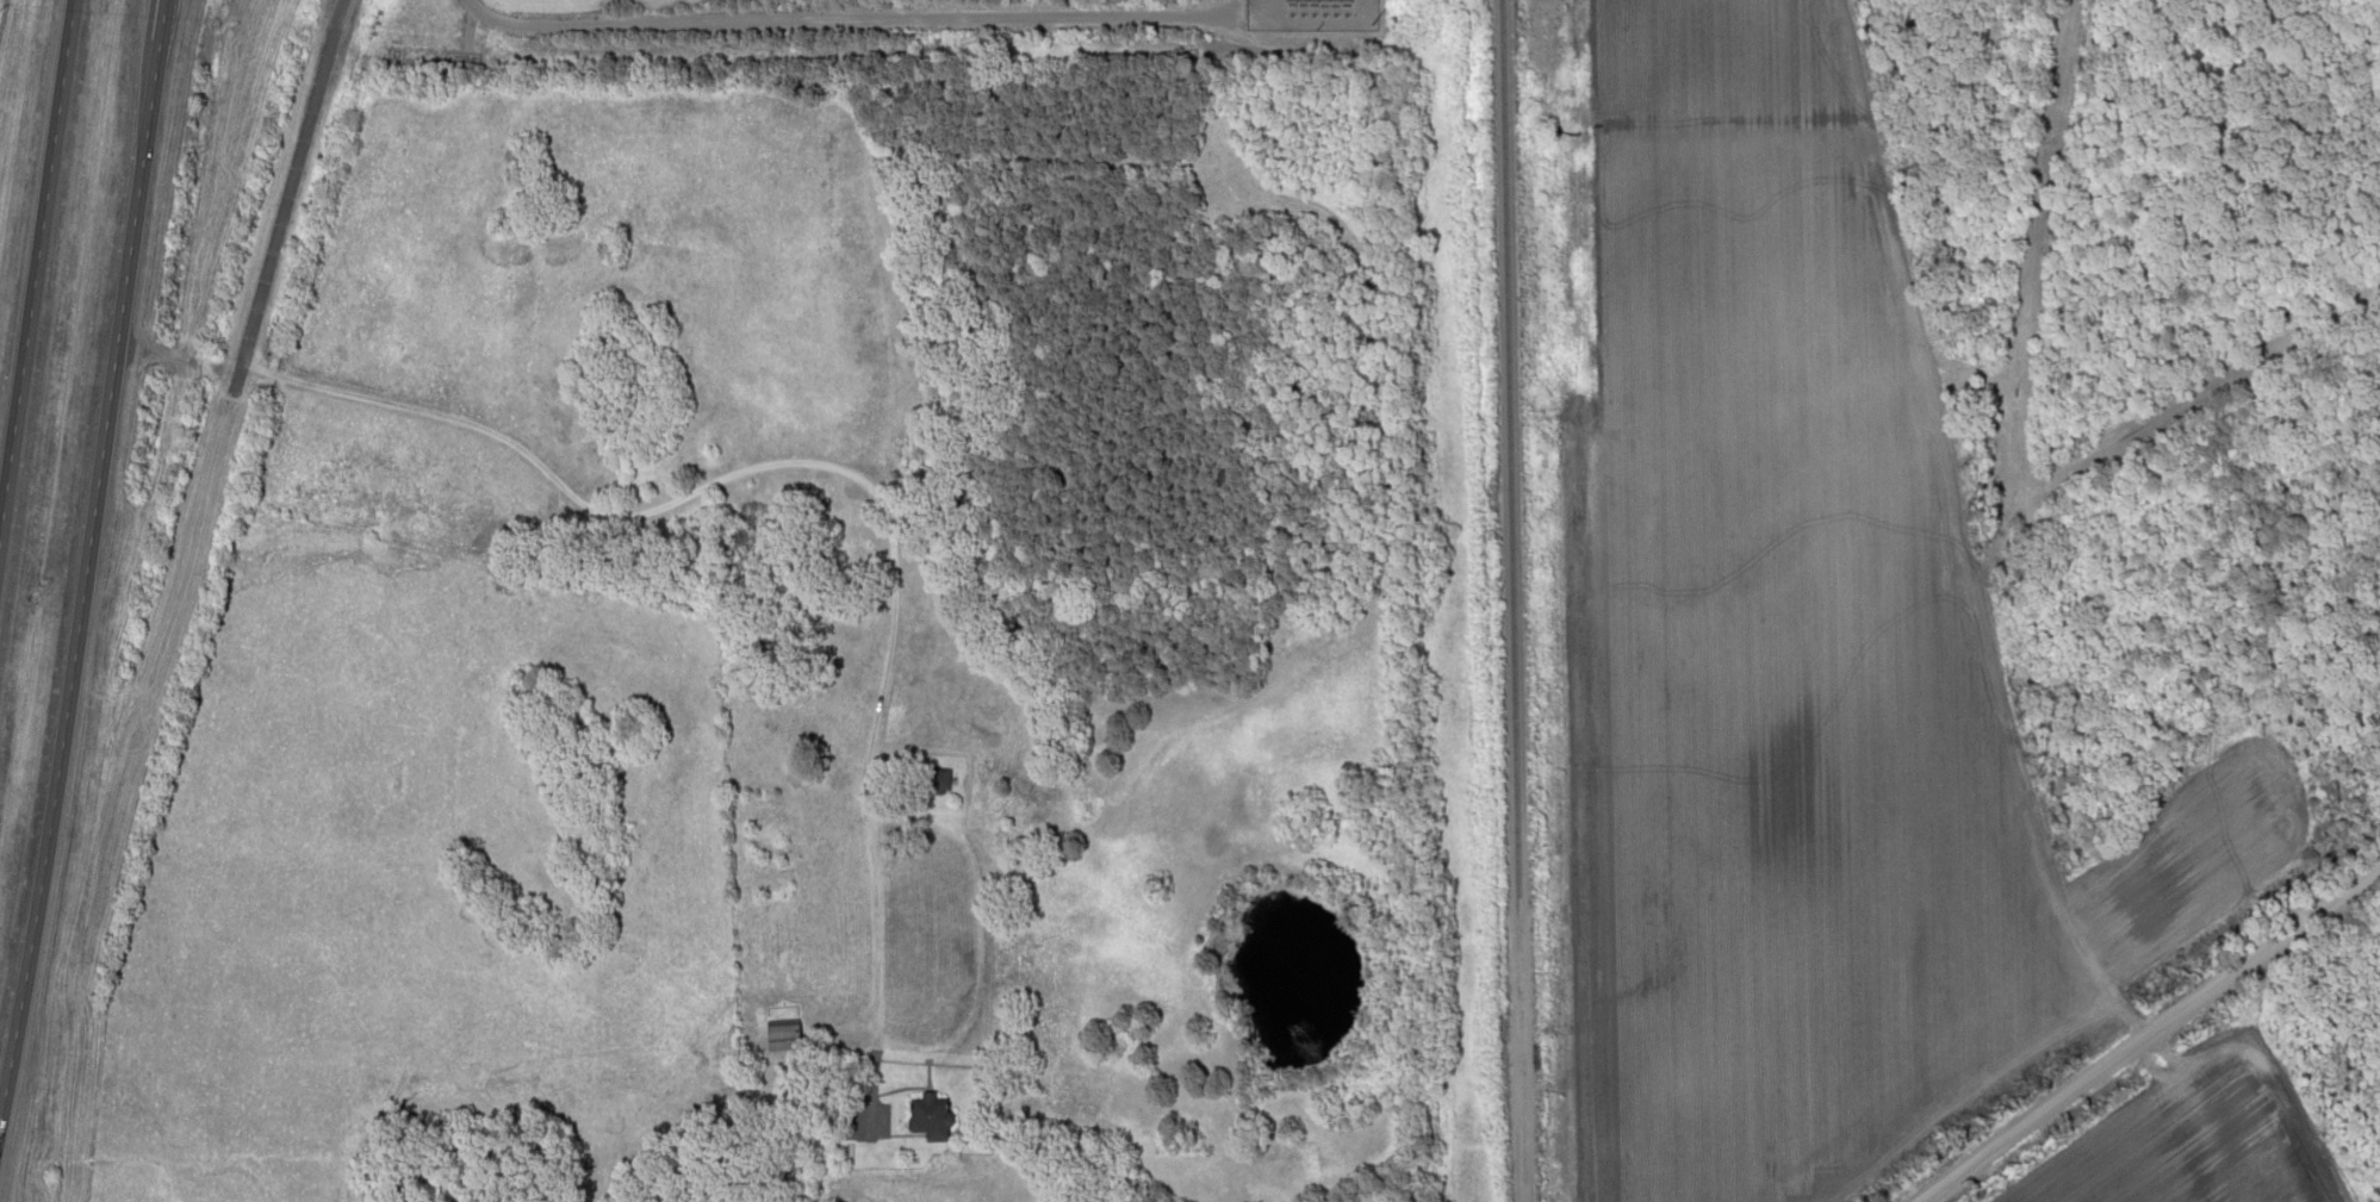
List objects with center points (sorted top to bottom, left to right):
road: (847, 19)
road: (287, 185)
road: (35, 250)
road: (788, 461)
road: (89, 560)
railway: (1509, 600)
building: (934, 778)
building: (782, 1032)
road: (2149, 1036)
building: (928, 1115)

